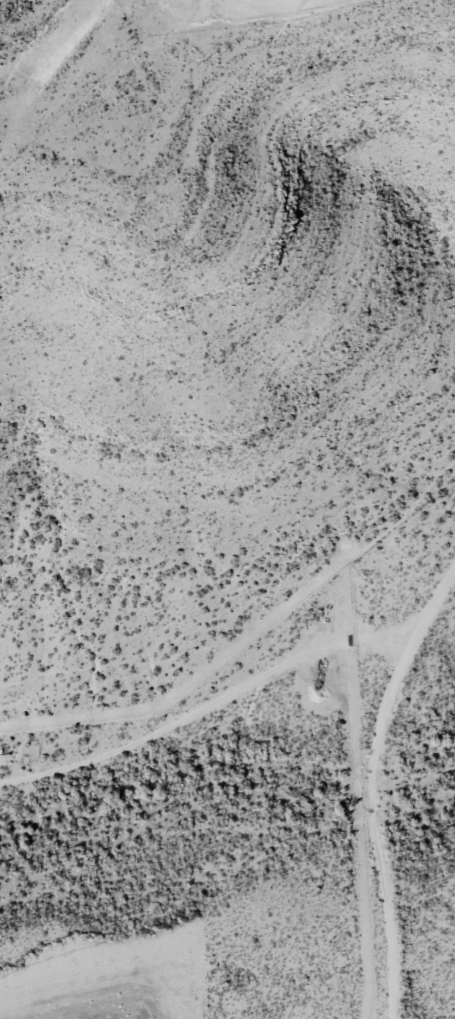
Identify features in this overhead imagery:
road: (389, 790)

